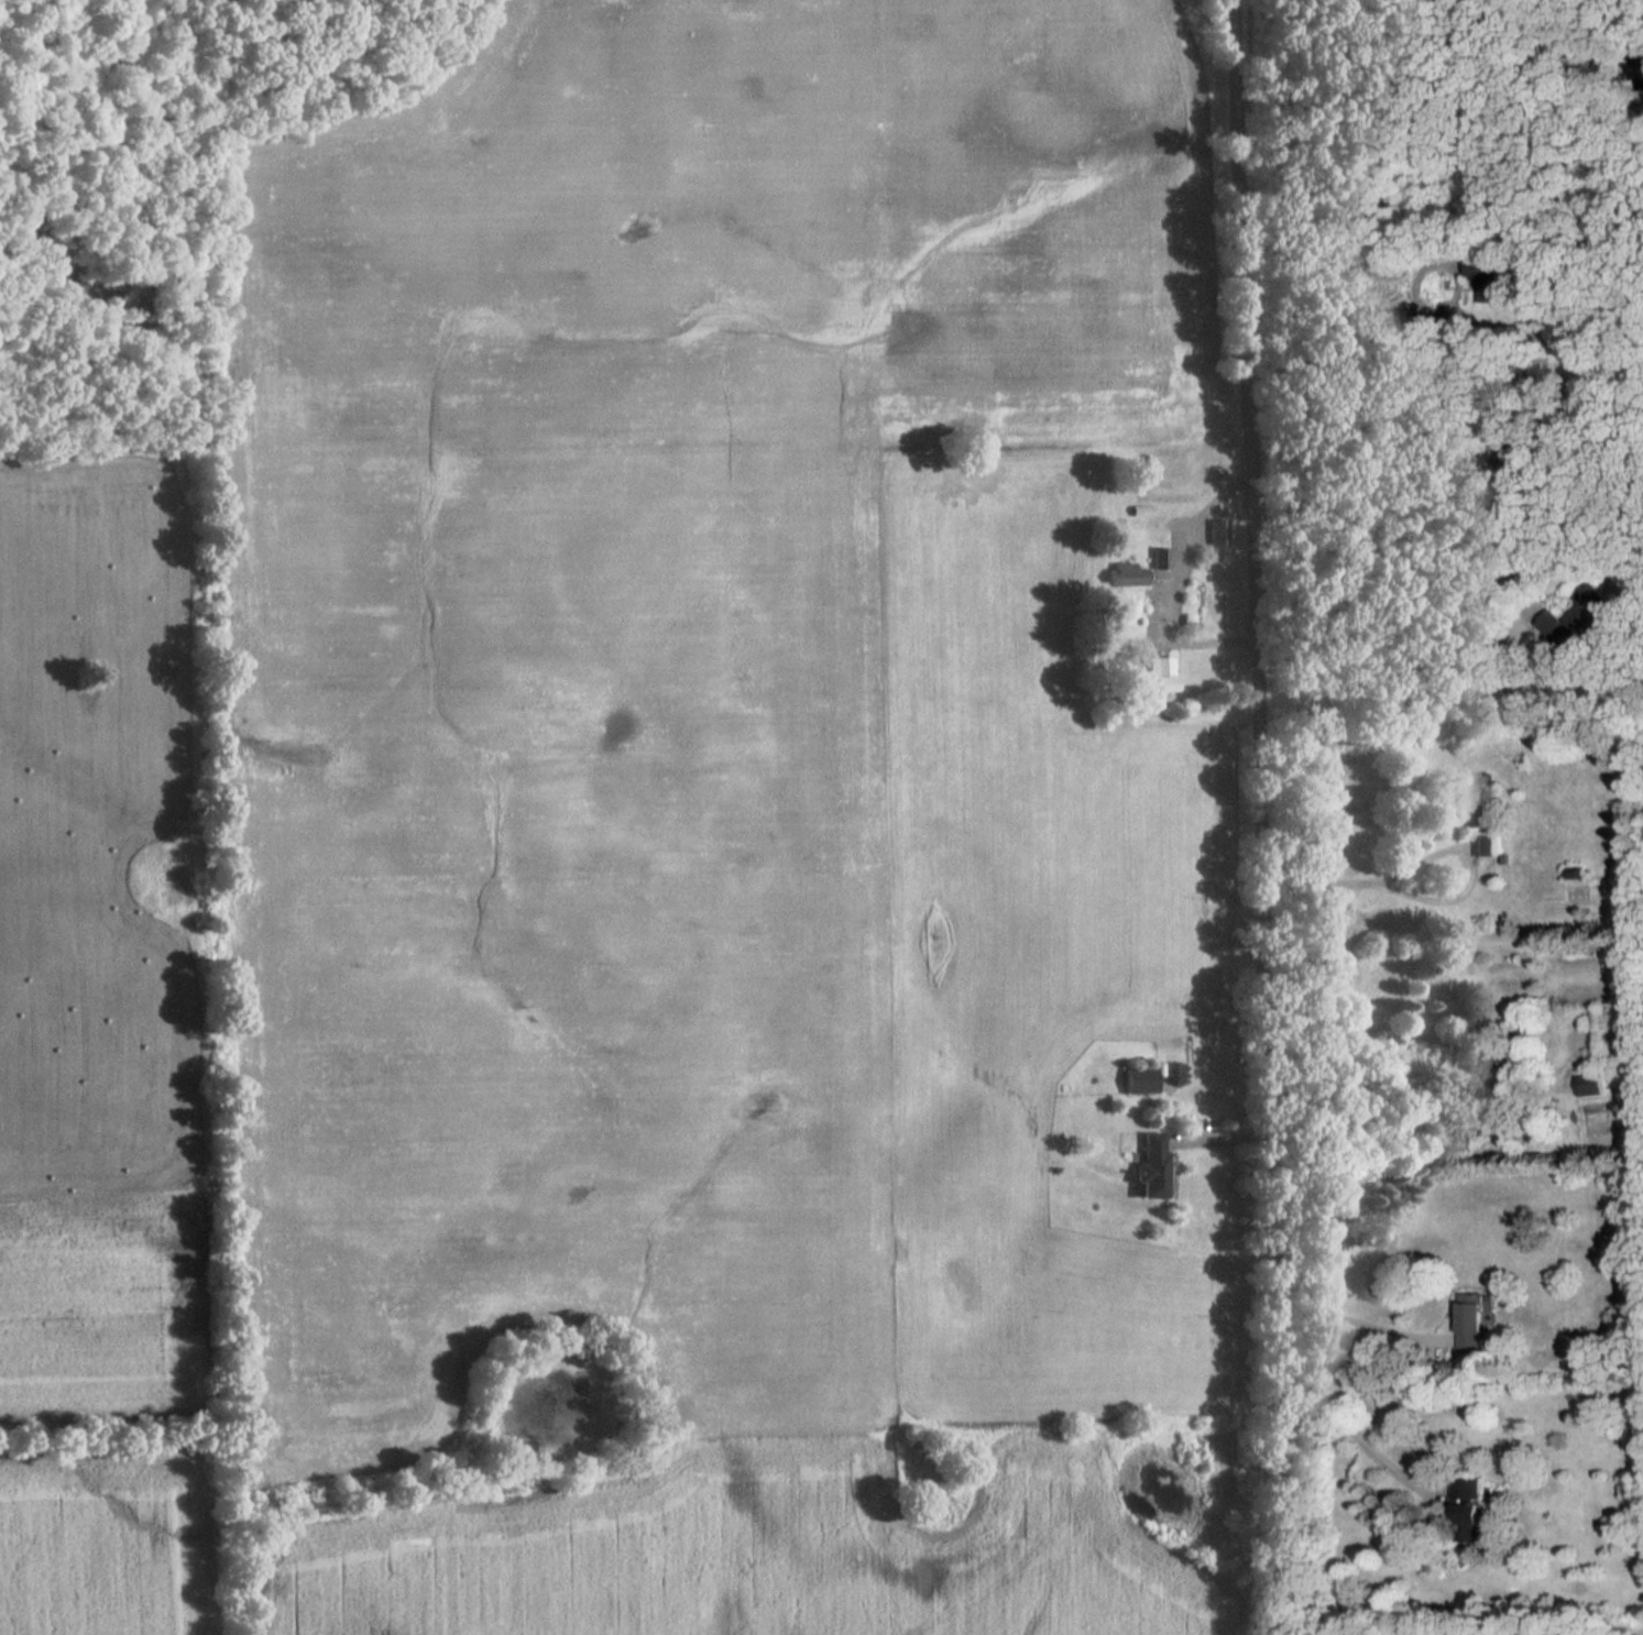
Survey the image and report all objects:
road: (1373, 339)
road: (1509, 483)
building: (1216, 533)
building: (1124, 574)
road: (1170, 582)
building: (1159, 674)
building: (1474, 805)
road: (1263, 816)
road: (1439, 898)
road: (1355, 1074)
building: (1141, 1079)
building: (1591, 1086)
road: (1227, 1133)
building: (1153, 1165)
building: (1472, 1323)
road: (1366, 1324)
road: (1363, 1441)
building: (1468, 1506)

